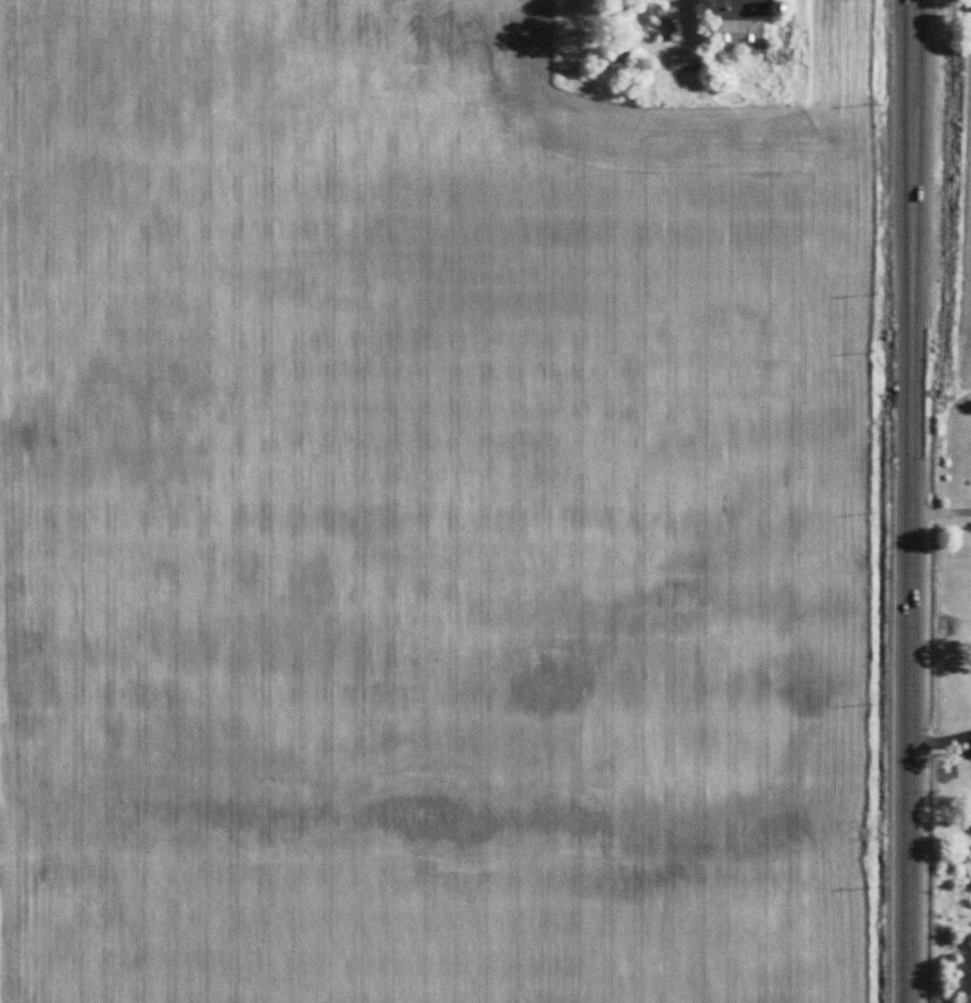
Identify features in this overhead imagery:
building: (669, 13)
building: (732, 34)
road: (909, 501)

